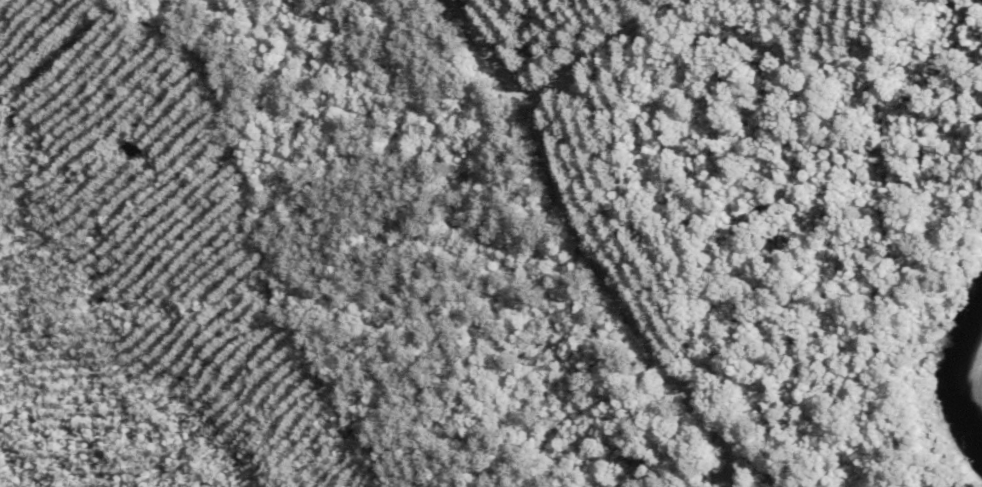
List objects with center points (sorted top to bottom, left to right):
road: (610, 50)
road: (605, 241)
river: (959, 374)

